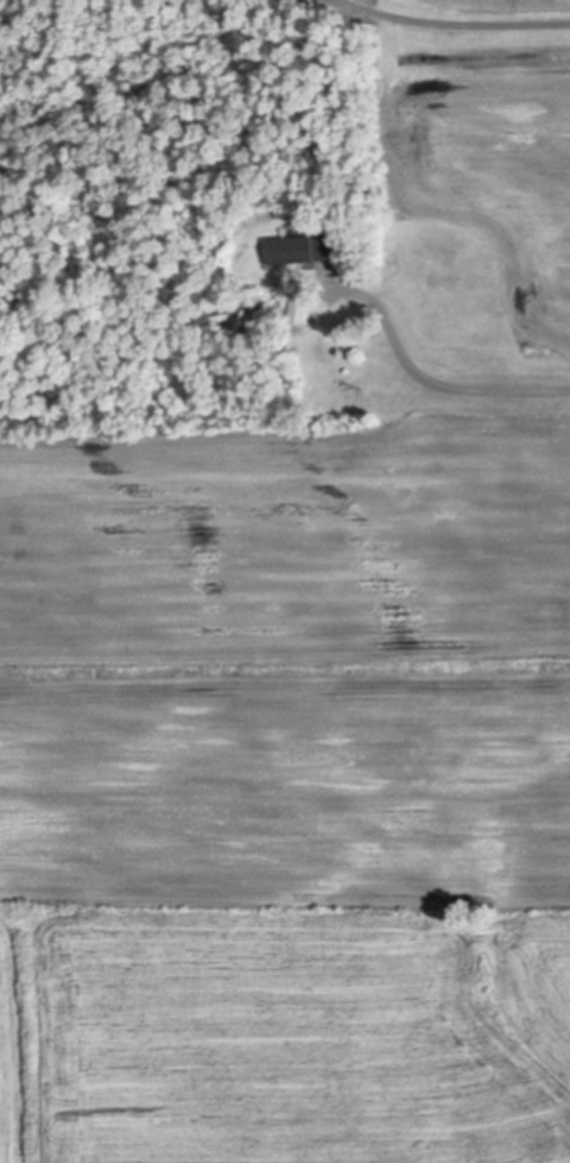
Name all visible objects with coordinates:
road: (456, 19)
building: (298, 245)
building: (298, 304)
road: (439, 375)

